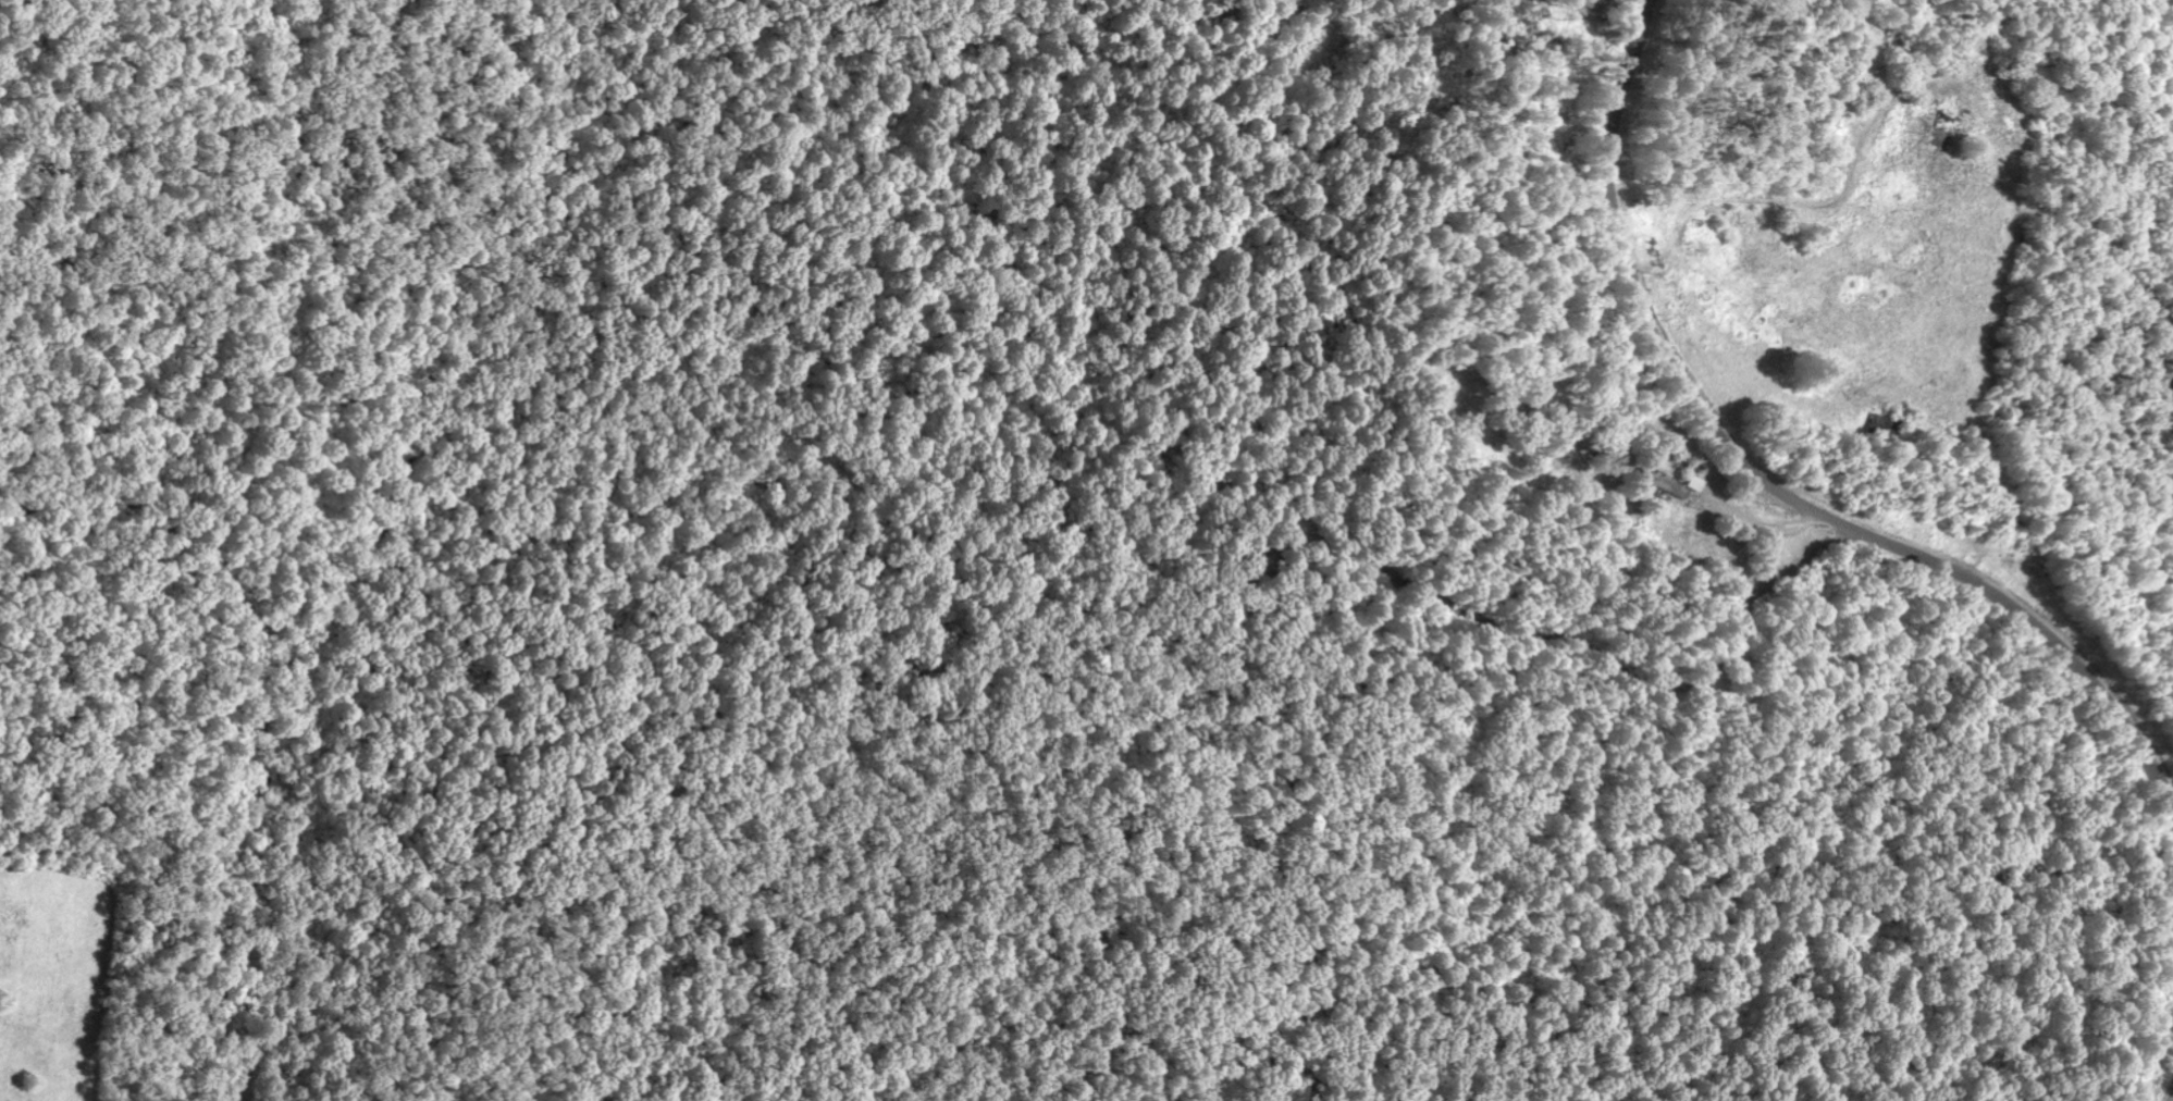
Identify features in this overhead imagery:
building: (1662, 483)
building: (1693, 483)
road: (1770, 488)
road: (2171, 1097)

